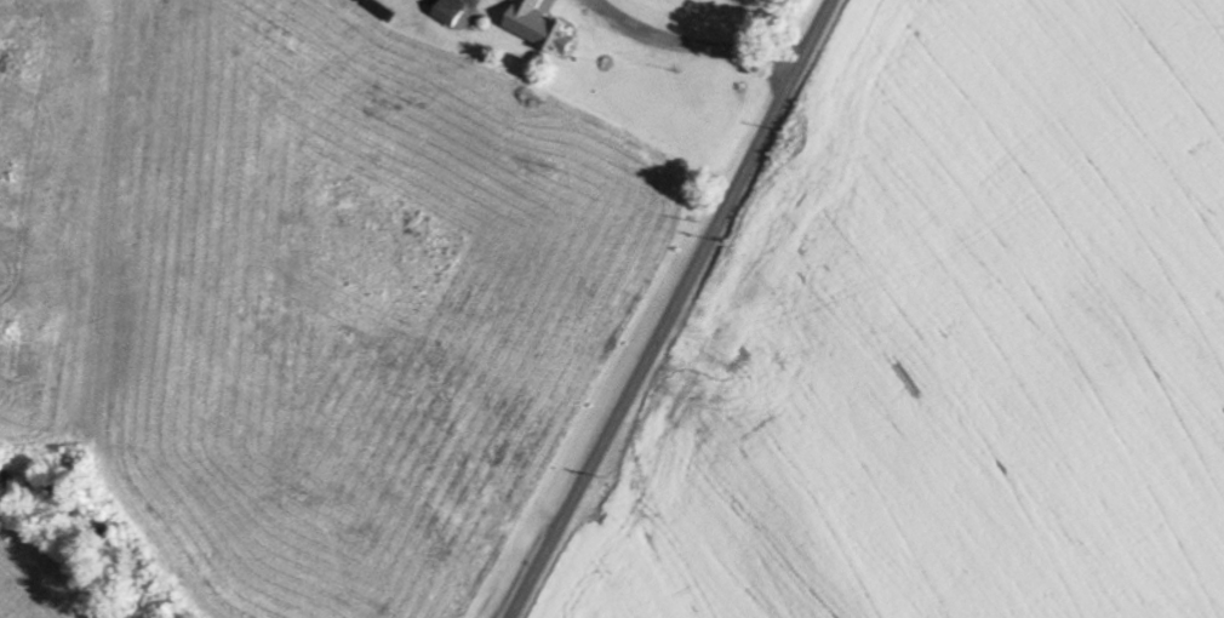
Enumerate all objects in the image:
building: (457, 15)
building: (542, 28)
road: (675, 309)

